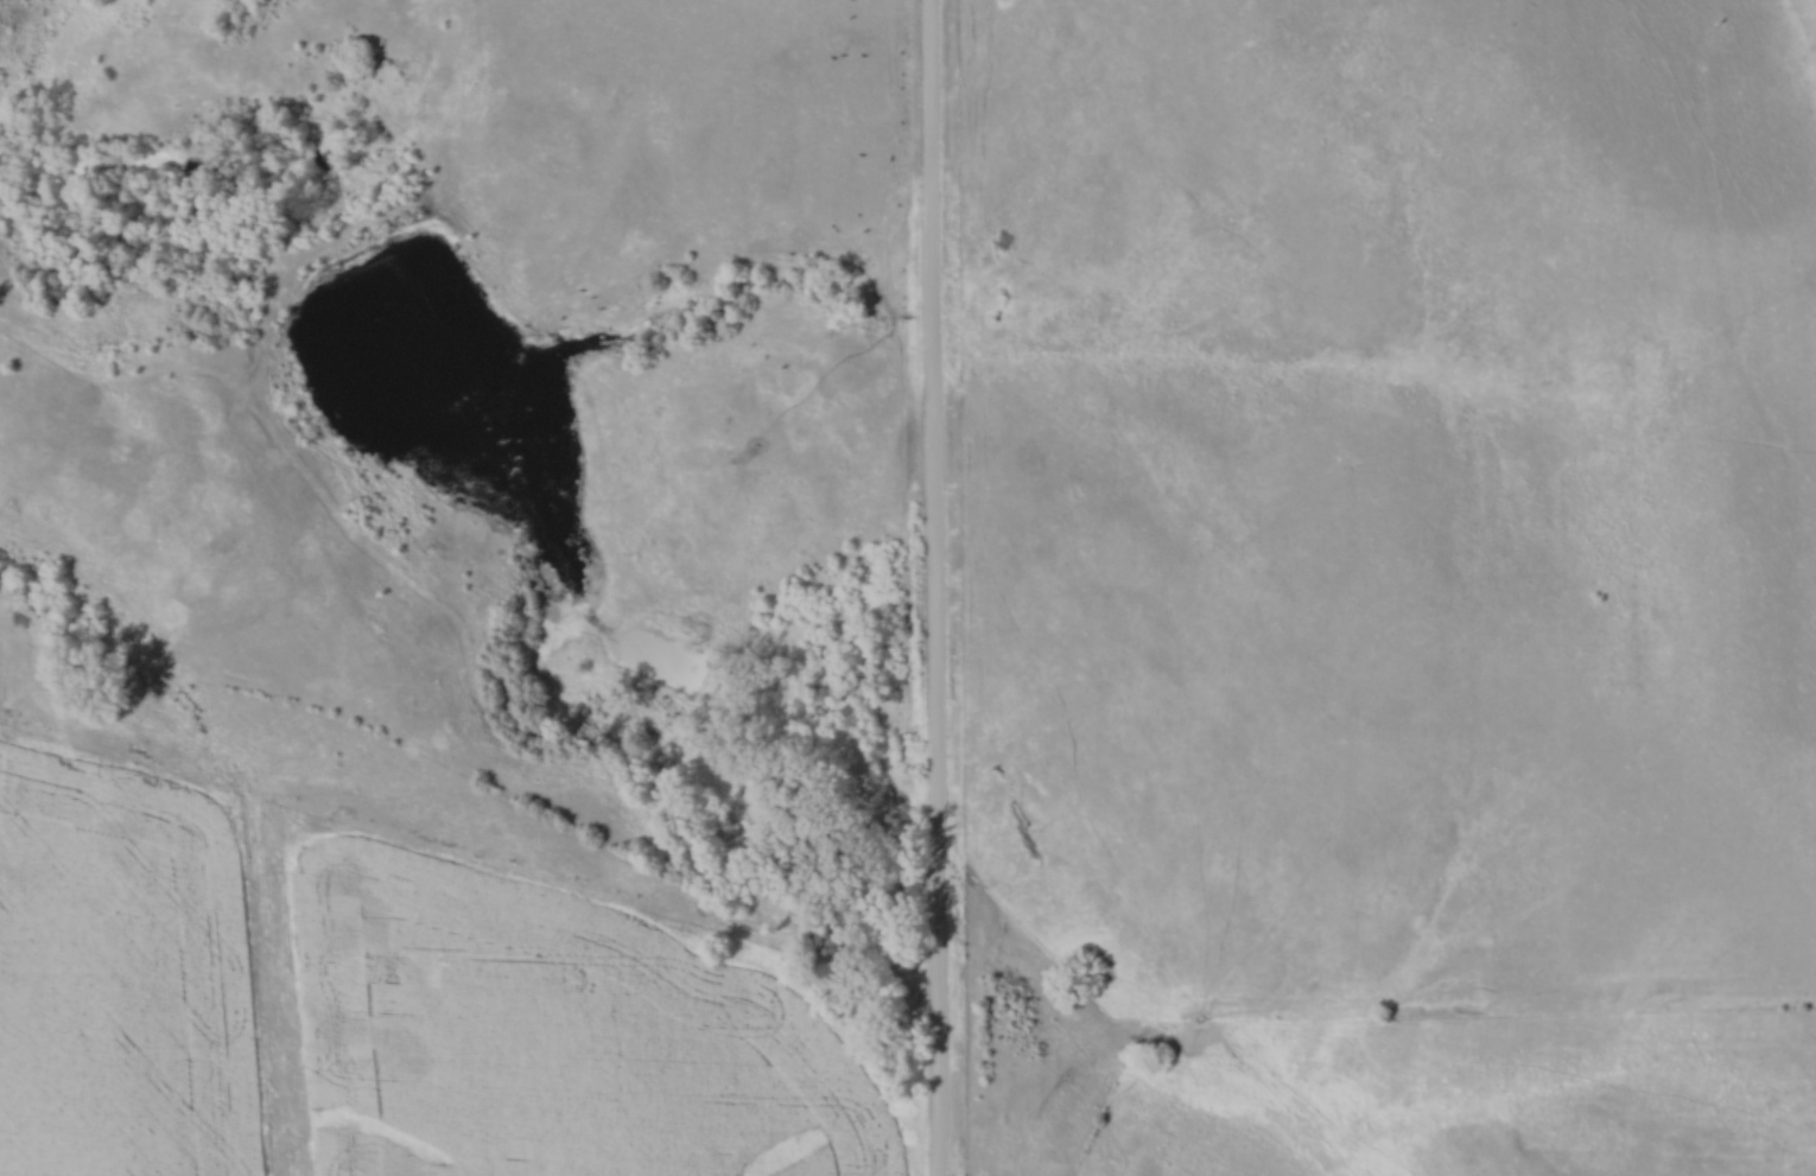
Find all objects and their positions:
road: (935, 587)

